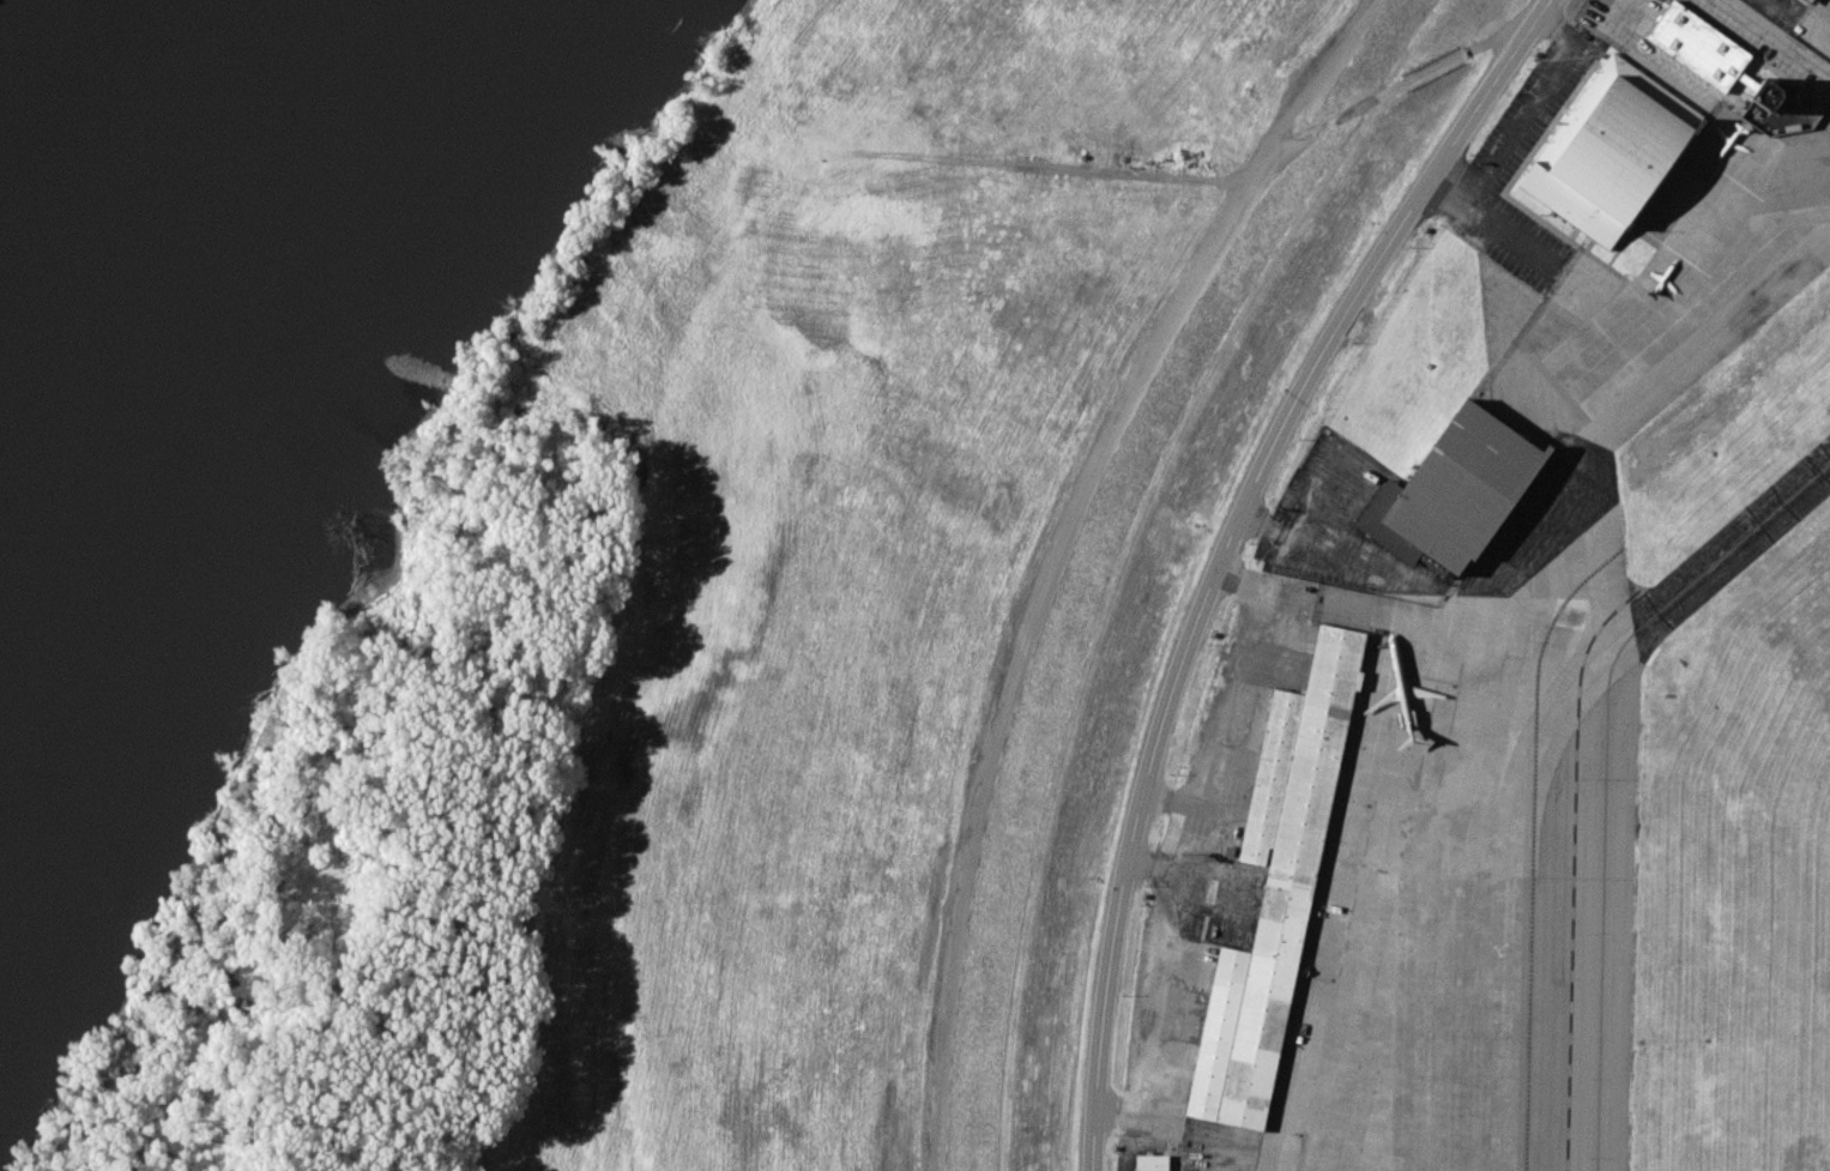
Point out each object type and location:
airport hangar: (1813, 1)
building: (1813, 1)
road: (1771, 7)
building: (1698, 46)
road: (1393, 89)
building: (1765, 93)
road: (1526, 117)
airport hangar: (1609, 150)
building: (1609, 150)
river: (144, 259)
airport hangar: (1463, 487)
building: (1463, 487)
road: (1222, 549)
road: (1057, 551)
airport apron: (1533, 640)
airport: (1538, 670)
airport taxiway: (1606, 768)
building: (1278, 885)
building: (1150, 1163)

